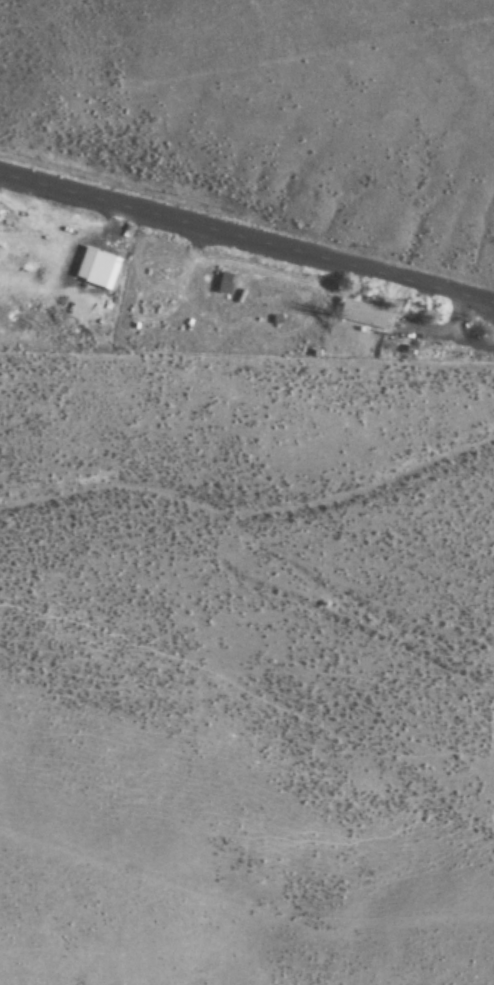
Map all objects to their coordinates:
road: (247, 236)
building: (221, 284)
building: (175, 295)
building: (363, 315)

